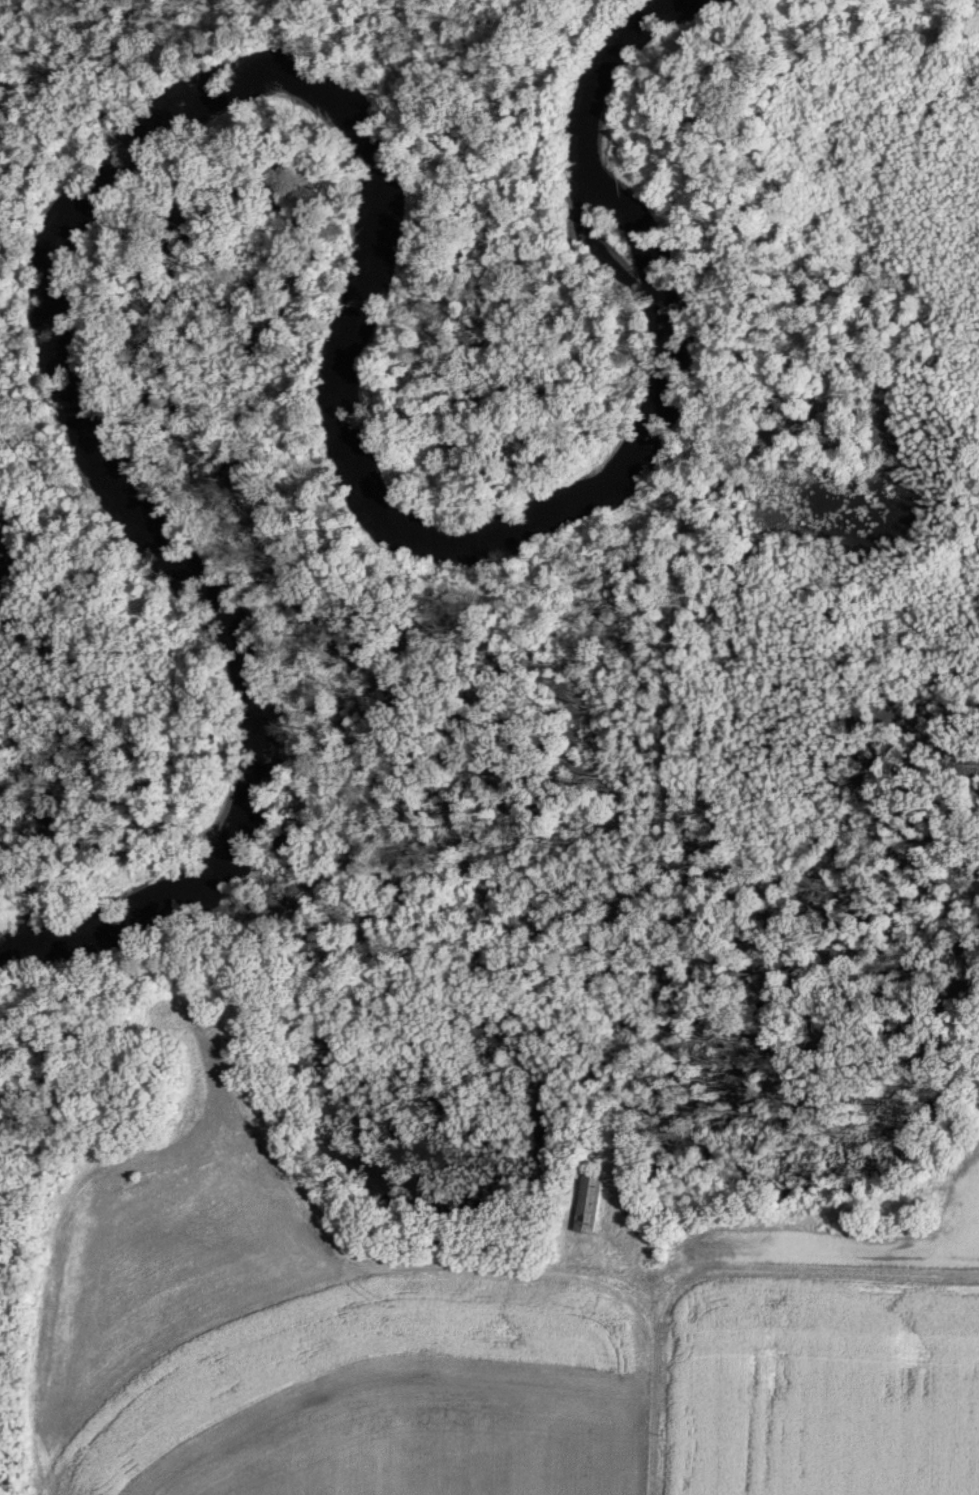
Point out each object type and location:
building: (592, 1201)
road: (814, 1273)
road: (521, 1275)

